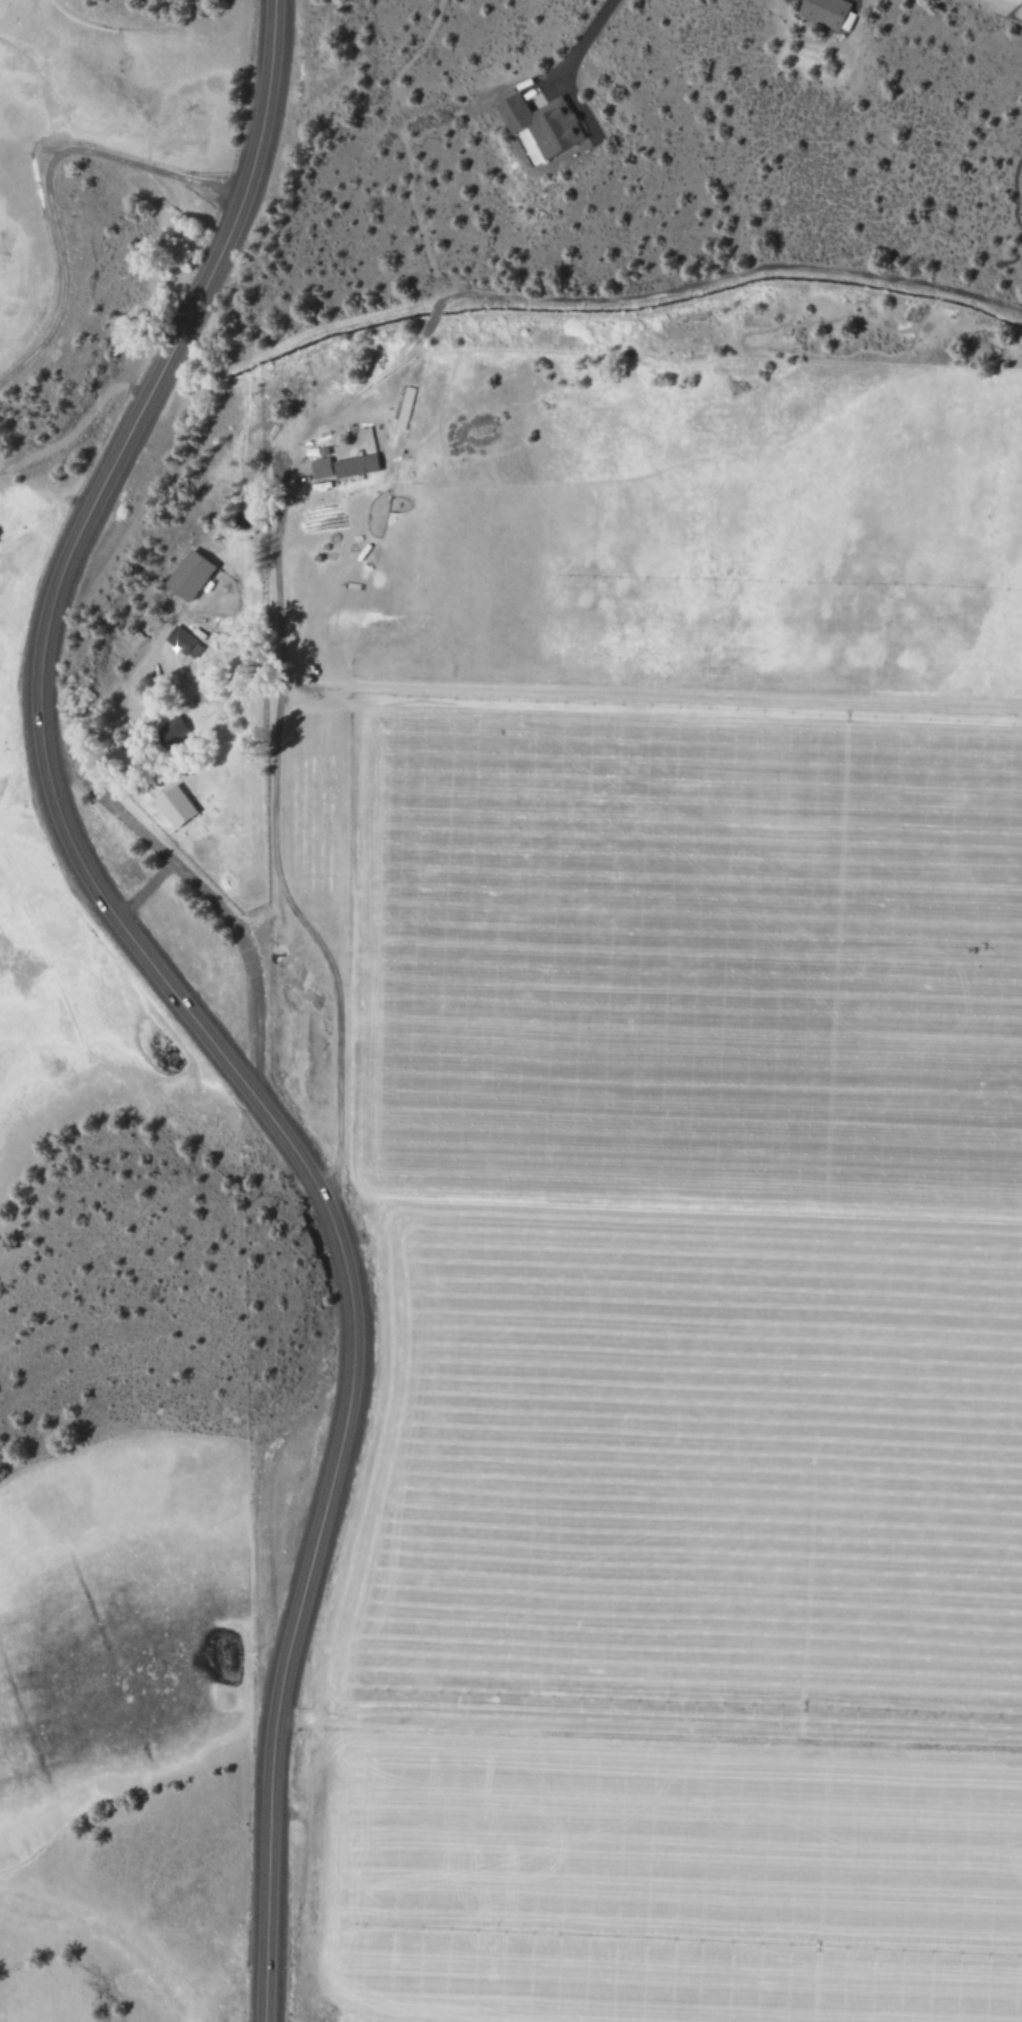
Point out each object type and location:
building: (822, 11)
building: (845, 20)
building: (537, 123)
crop: (81, 127)
building: (400, 408)
building: (352, 465)
building: (317, 467)
building: (185, 576)
building: (181, 642)
building: (167, 731)
building: (170, 806)
road: (176, 998)
crop: (675, 1196)
crop: (137, 1722)

